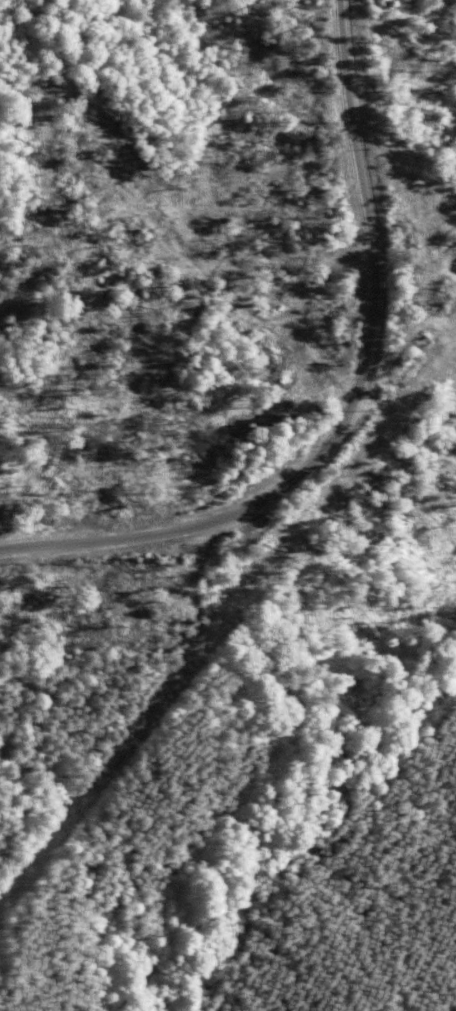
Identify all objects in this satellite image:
road: (349, 375)

